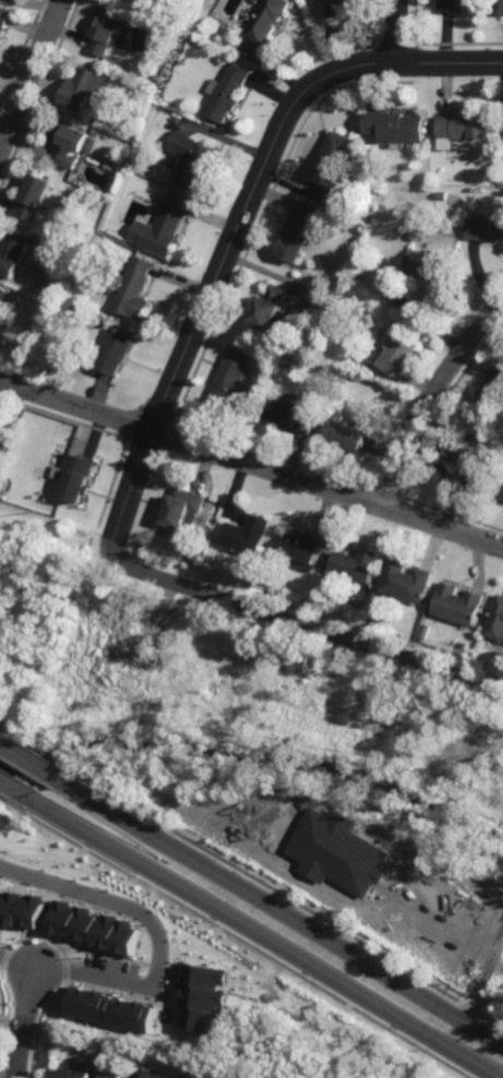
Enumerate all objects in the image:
building: (253, 1)
building: (335, 2)
building: (453, 4)
building: (501, 7)
building: (4, 15)
building: (265, 20)
building: (107, 27)
road: (398, 31)
building: (118, 47)
road: (32, 76)
building: (157, 77)
building: (85, 86)
building: (227, 93)
building: (395, 124)
building: (466, 124)
building: (70, 140)
building: (332, 157)
building: (190, 158)
building: (34, 195)
building: (443, 195)
building: (423, 225)
building: (165, 226)
road: (238, 226)
building: (484, 229)
building: (299, 231)
building: (416, 233)
building: (502, 251)
building: (12, 252)
building: (428, 264)
building: (134, 289)
building: (4, 302)
building: (268, 306)
building: (115, 350)
building: (397, 350)
building: (334, 375)
building: (230, 376)
building: (493, 386)
road: (429, 400)
building: (292, 415)
building: (387, 417)
building: (0, 426)
building: (346, 436)
building: (471, 462)
road: (251, 464)
building: (74, 477)
building: (2, 487)
building: (502, 495)
building: (181, 513)
building: (245, 535)
building: (304, 549)
building: (199, 558)
building: (356, 565)
building: (406, 582)
building: (459, 606)
building: (496, 621)
road: (310, 626)
road: (1, 744)
road: (34, 765)
road: (13, 787)
building: (340, 852)
road: (409, 894)
building: (23, 910)
road: (284, 914)
building: (95, 929)
road: (262, 935)
road: (160, 950)
road: (475, 959)
road: (484, 979)
building: (206, 998)
building: (113, 1009)
road: (25, 1021)
building: (225, 1067)
building: (72, 1074)
building: (112, 1075)
building: (155, 1075)

